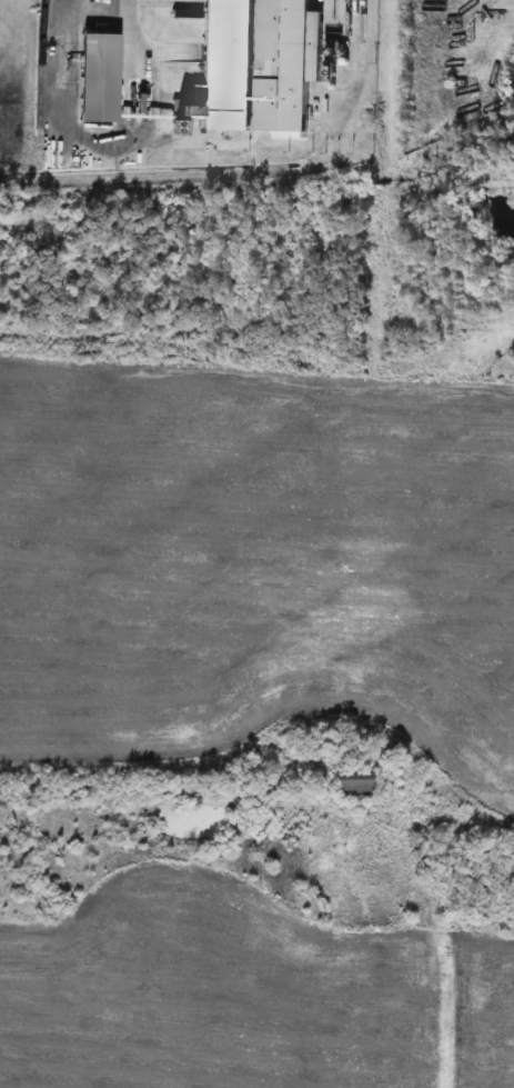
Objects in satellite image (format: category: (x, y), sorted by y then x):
building: (258, 64)
building: (356, 783)

